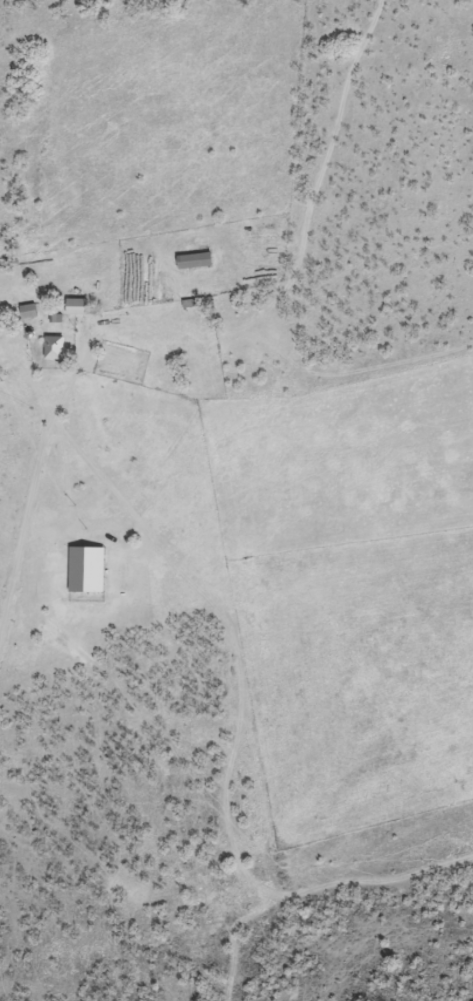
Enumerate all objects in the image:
building: (193, 260)
building: (75, 306)
building: (27, 310)
building: (53, 347)
road: (31, 506)

